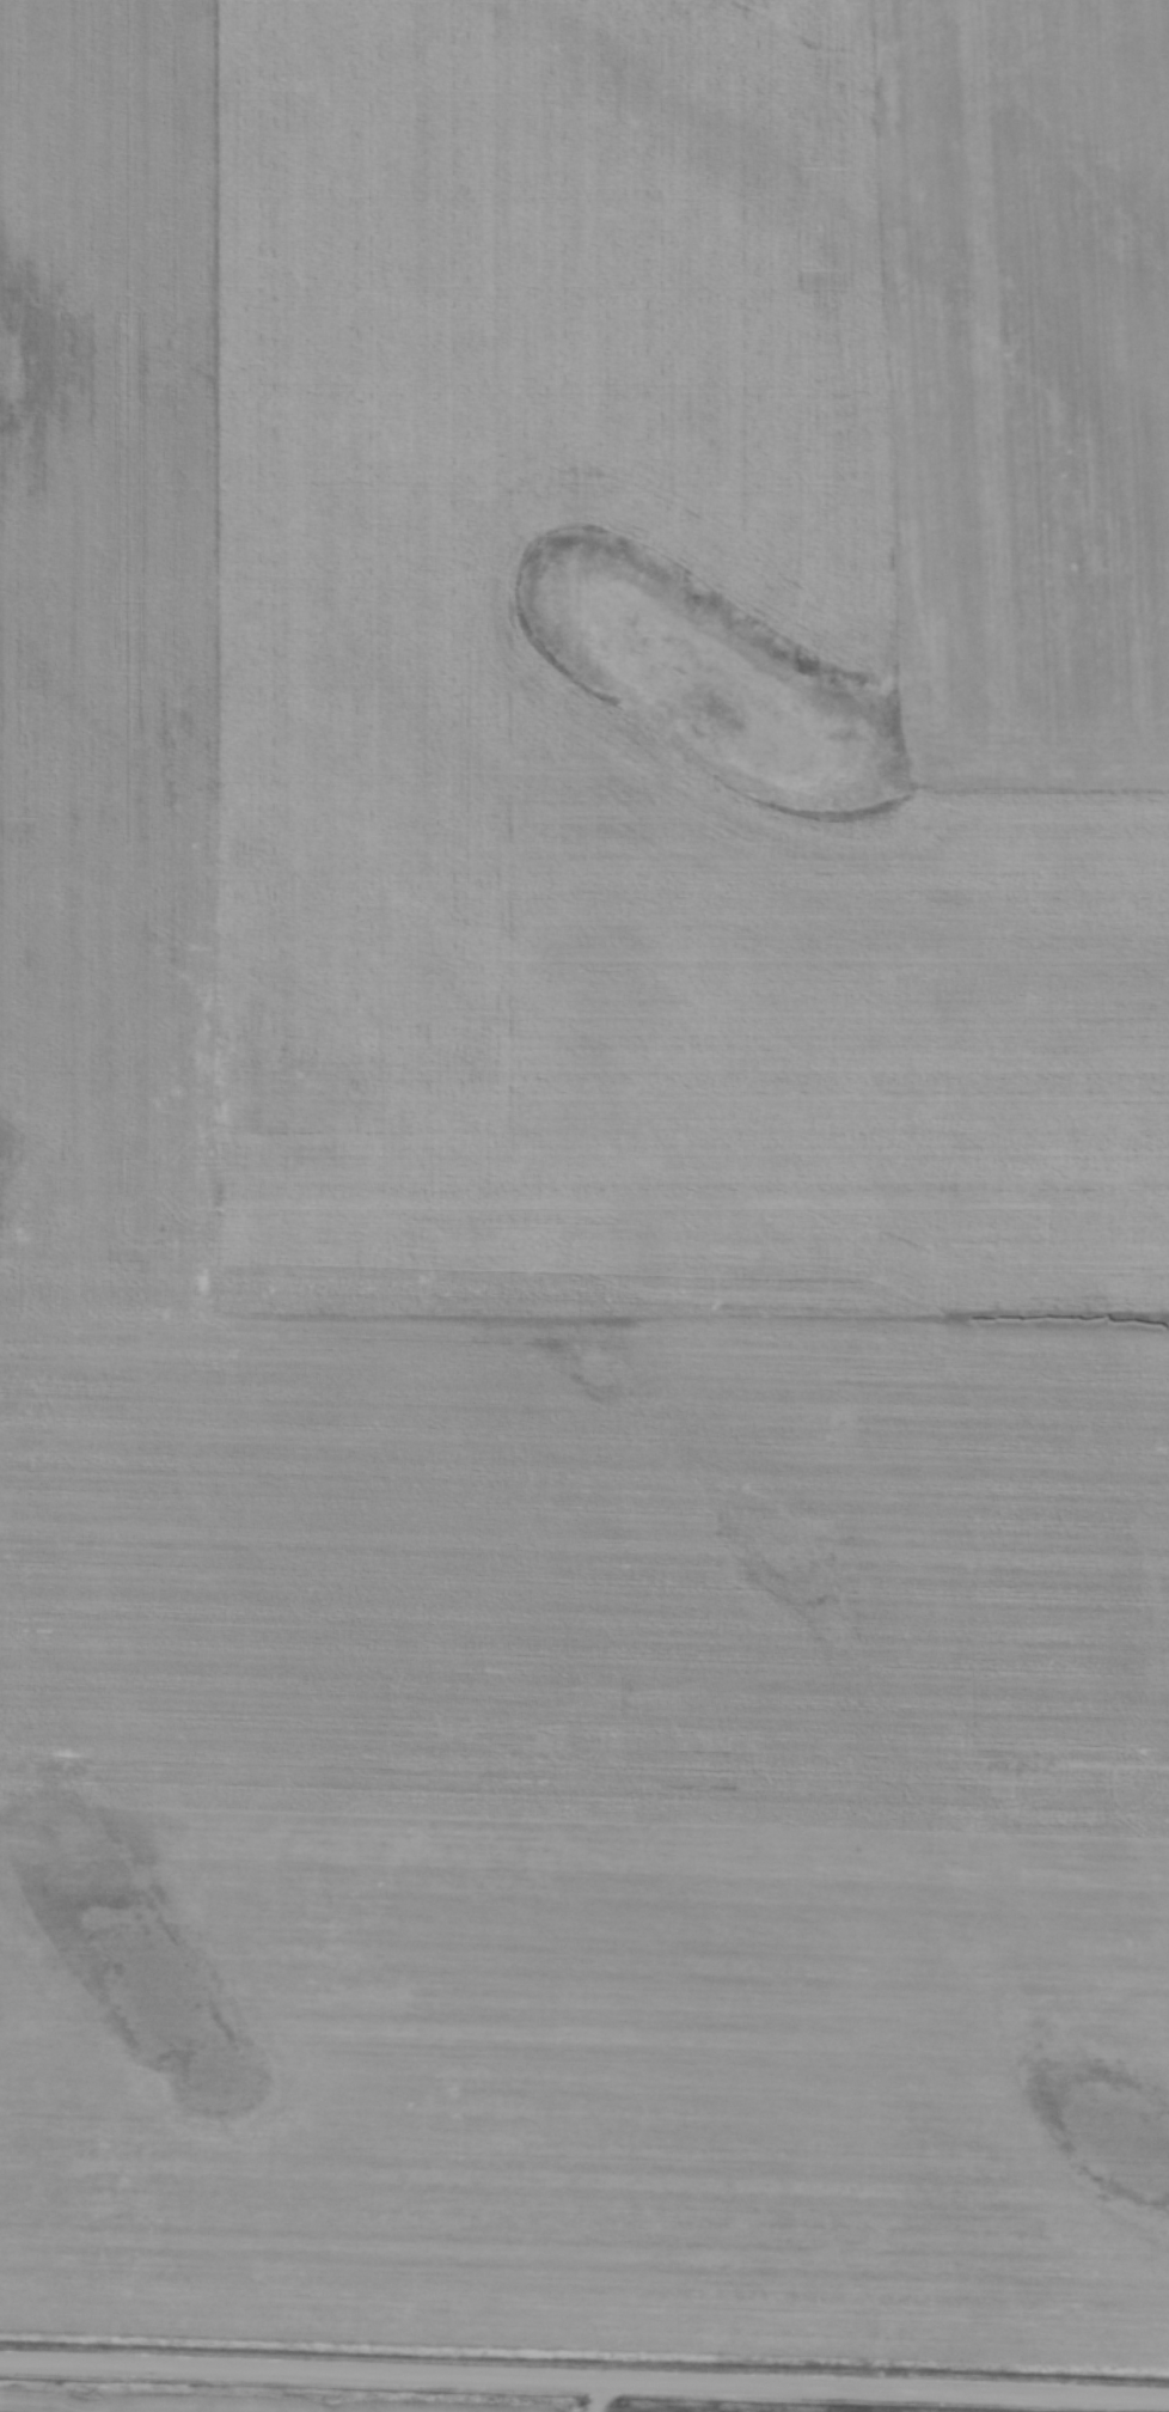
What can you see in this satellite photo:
road: (584, 2380)

